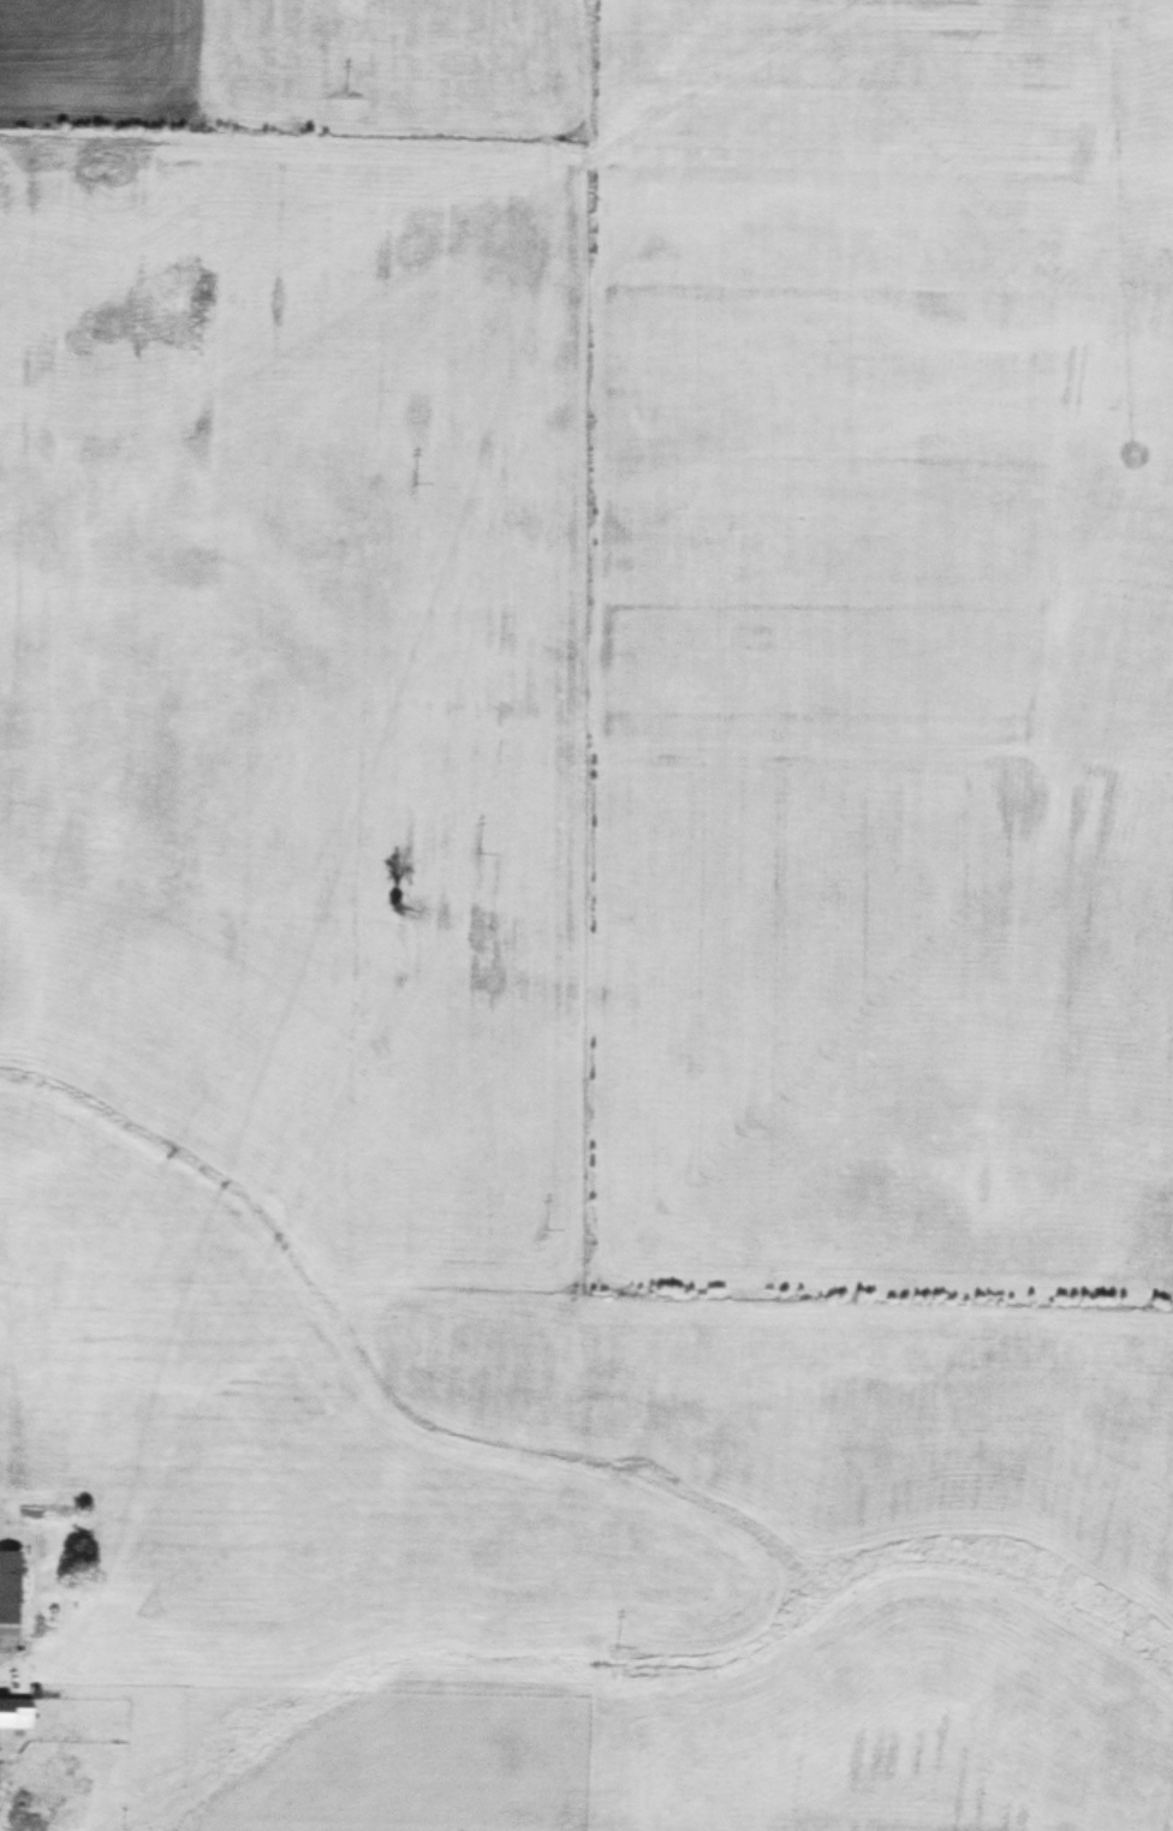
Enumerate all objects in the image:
building: (5, 1582)
building: (12, 1708)

